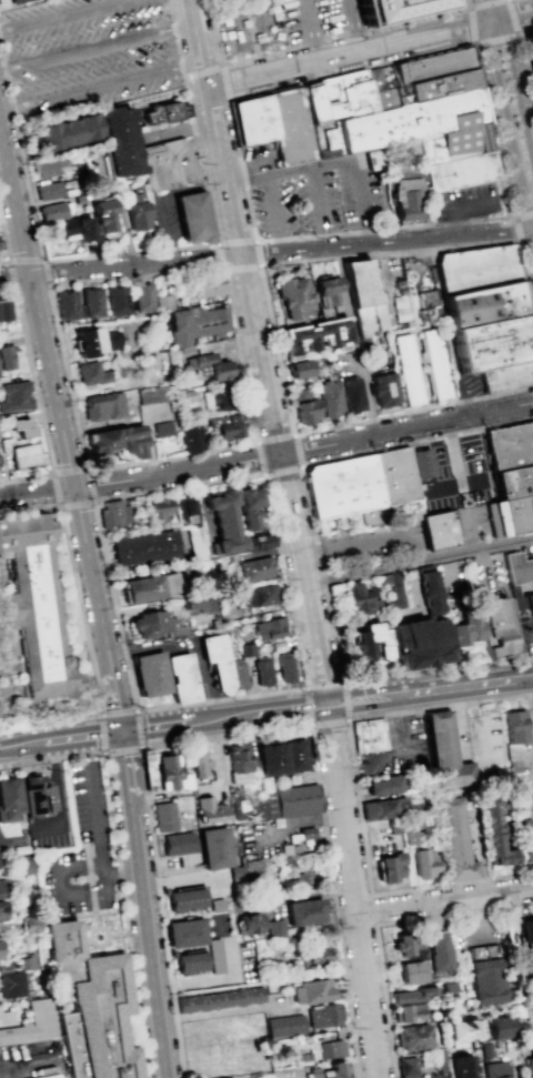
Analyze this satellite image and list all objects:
building: (10, 3)
road: (487, 4)
building: (395, 9)
road: (492, 10)
road: (67, 14)
road: (513, 17)
road: (514, 17)
parking lot: (278, 26)
road: (348, 27)
road: (471, 28)
road: (308, 31)
road: (268, 37)
road: (238, 40)
road: (496, 40)
road: (197, 44)
road: (318, 46)
building: (531, 46)
road: (97, 48)
parking lot: (89, 54)
road: (255, 54)
road: (350, 54)
road: (524, 56)
road: (220, 67)
building: (429, 67)
building: (374, 82)
road: (517, 83)
road: (100, 84)
building: (421, 91)
road: (240, 97)
building: (343, 98)
building: (311, 107)
building: (162, 113)
building: (252, 119)
building: (289, 125)
building: (413, 129)
building: (67, 131)
road: (511, 132)
building: (118, 140)
parking lot: (189, 162)
road: (192, 162)
building: (161, 164)
building: (46, 167)
road: (223, 171)
road: (290, 171)
building: (456, 173)
road: (245, 180)
road: (354, 182)
building: (48, 190)
road: (162, 195)
parking lot: (320, 197)
building: (404, 199)
road: (319, 200)
parking lot: (465, 202)
road: (454, 205)
road: (273, 206)
building: (51, 211)
road: (522, 213)
building: (102, 214)
building: (135, 215)
building: (192, 218)
parking lot: (217, 218)
parking lot: (165, 221)
building: (73, 228)
road: (516, 229)
road: (329, 240)
road: (385, 241)
road: (254, 242)
road: (280, 243)
road: (4, 244)
road: (149, 251)
road: (23, 262)
road: (134, 264)
building: (475, 268)
road: (222, 271)
road: (16, 276)
building: (207, 285)
building: (326, 289)
road: (31, 290)
road: (7, 292)
building: (362, 296)
building: (143, 298)
building: (117, 300)
building: (293, 300)
building: (91, 302)
building: (428, 302)
building: (67, 304)
road: (268, 306)
building: (485, 306)
building: (2, 310)
building: (201, 326)
building: (314, 335)
building: (93, 341)
road: (353, 341)
building: (494, 345)
road: (259, 354)
building: (4, 357)
parking lot: (363, 365)
building: (436, 365)
building: (298, 369)
building: (210, 370)
building: (409, 371)
building: (90, 373)
building: (506, 379)
road: (53, 387)
parking lot: (466, 387)
building: (382, 389)
building: (152, 393)
building: (351, 393)
building: (14, 395)
building: (329, 397)
building: (220, 399)
road: (466, 399)
building: (103, 405)
building: (302, 405)
road: (40, 410)
building: (223, 426)
building: (20, 427)
building: (161, 429)
road: (406, 429)
building: (190, 435)
building: (119, 439)
building: (510, 443)
building: (24, 455)
road: (86, 463)
building: (420, 466)
road: (455, 470)
road: (177, 472)
parking lot: (455, 473)
road: (263, 475)
building: (395, 478)
building: (514, 480)
road: (470, 483)
building: (342, 490)
road: (37, 493)
road: (59, 507)
building: (159, 508)
building: (185, 508)
building: (112, 513)
road: (30, 514)
building: (232, 514)
building: (510, 514)
road: (318, 522)
parking lot: (471, 523)
building: (438, 530)
road: (471, 530)
road: (352, 540)
building: (261, 541)
parking lot: (373, 544)
building: (143, 547)
parking lot: (527, 551)
road: (319, 552)
road: (420, 557)
building: (517, 567)
building: (255, 568)
road: (485, 570)
road: (450, 571)
road: (305, 574)
parking lot: (490, 576)
building: (150, 585)
building: (428, 588)
building: (391, 591)
road: (412, 593)
building: (262, 594)
building: (361, 598)
building: (522, 601)
building: (197, 604)
road: (79, 611)
building: (37, 618)
building: (158, 624)
park: (41, 626)
building: (495, 626)
building: (269, 627)
building: (466, 627)
road: (531, 636)
parking lot: (527, 637)
building: (370, 642)
building: (418, 642)
building: (279, 645)
building: (217, 661)
building: (284, 668)
building: (262, 672)
building: (151, 673)
building: (239, 674)
road: (523, 675)
building: (182, 677)
road: (335, 684)
road: (455, 685)
road: (316, 687)
road: (363, 689)
road: (115, 692)
road: (305, 693)
road: (306, 696)
road: (346, 701)
road: (308, 705)
road: (365, 705)
road: (137, 709)
road: (298, 711)
road: (258, 712)
road: (320, 712)
road: (118, 713)
road: (309, 718)
road: (50, 721)
road: (177, 722)
road: (329, 723)
building: (515, 726)
road: (137, 727)
traffic signals: (124, 729)
road: (102, 733)
road: (234, 734)
road: (72, 736)
building: (370, 736)
road: (10, 745)
road: (121, 748)
parking lot: (399, 749)
road: (103, 755)
building: (295, 755)
building: (447, 756)
building: (240, 758)
building: (272, 758)
road: (392, 759)
building: (198, 764)
road: (129, 767)
building: (168, 774)
building: (384, 785)
building: (531, 789)
building: (37, 796)
road: (62, 796)
road: (359, 796)
building: (10, 799)
building: (290, 802)
building: (257, 806)
building: (238, 808)
building: (384, 808)
building: (208, 810)
road: (97, 816)
building: (163, 816)
building: (415, 826)
building: (394, 827)
building: (494, 832)
building: (305, 833)
road: (9, 834)
parking lot: (10, 834)
building: (455, 839)
building: (179, 844)
building: (529, 844)
parking lot: (53, 845)
building: (212, 848)
parking lot: (81, 858)
building: (298, 859)
building: (429, 863)
building: (391, 867)
building: (252, 870)
road: (122, 873)
road: (118, 874)
road: (59, 878)
building: (237, 879)
building: (304, 880)
building: (0, 889)
road: (354, 894)
building: (183, 899)
road: (445, 904)
building: (215, 906)
road: (372, 910)
building: (1, 911)
building: (303, 911)
building: (29, 924)
building: (249, 924)
road: (378, 926)
building: (278, 928)
building: (525, 930)
road: (115, 933)
building: (184, 933)
road: (152, 941)
building: (408, 946)
road: (112, 950)
building: (436, 951)
building: (2, 954)
building: (214, 956)
building: (318, 961)
building: (188, 963)
building: (527, 971)
building: (410, 973)
building: (484, 974)
road: (133, 981)
building: (446, 986)
building: (14, 990)
building: (310, 991)
building: (411, 995)
building: (219, 999)
building: (94, 1008)
building: (406, 1011)
building: (527, 1011)
building: (43, 1015)
building: (323, 1016)
building: (283, 1026)
building: (500, 1027)
building: (461, 1031)
building: (413, 1037)
building: (330, 1048)
building: (484, 1049)
building: (302, 1057)
building: (440, 1061)
building: (530, 1064)
building: (406, 1067)
building: (460, 1067)
road: (31, 1069)
building: (493, 1069)
building: (331, 1071)
building: (429, 1075)
building: (47, 1076)

